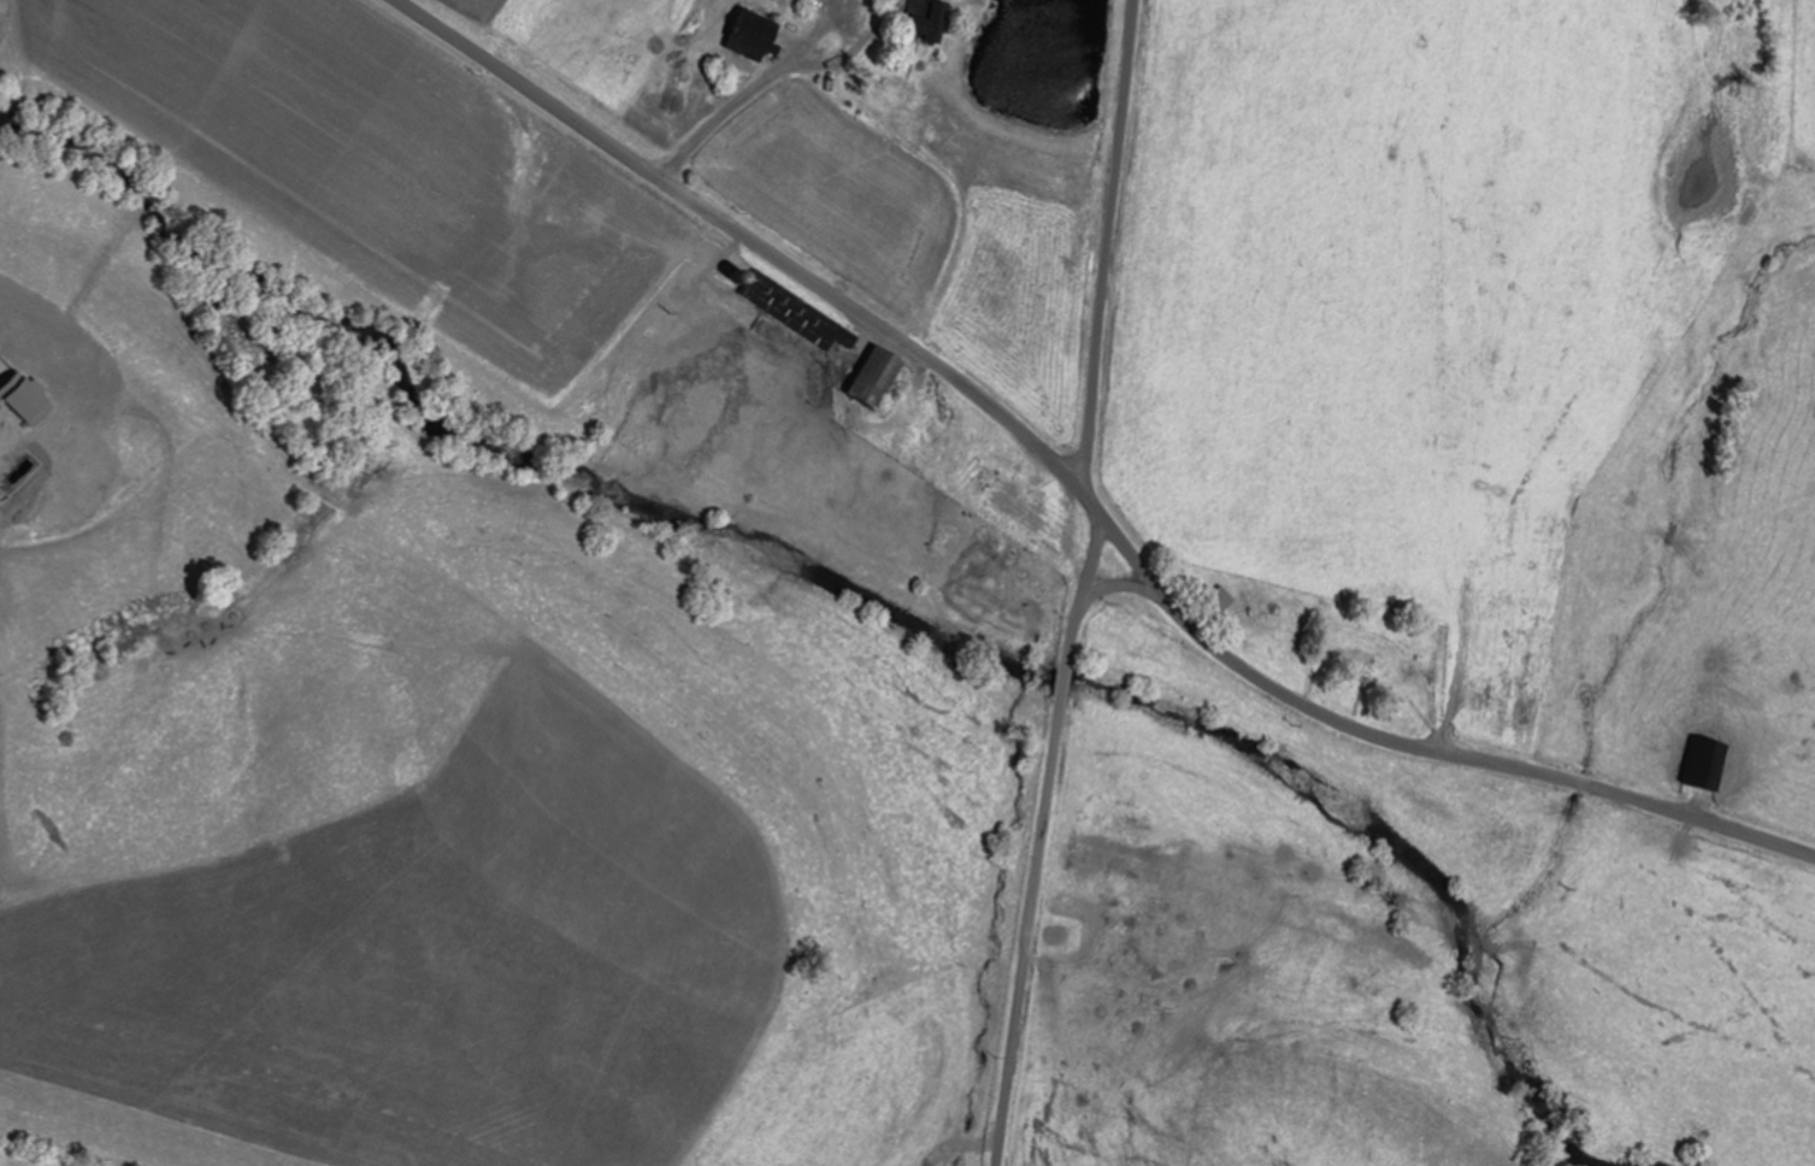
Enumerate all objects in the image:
building: (933, 20)
building: (760, 39)
road: (1108, 247)
building: (797, 313)
building: (883, 377)
road: (1079, 493)
road: (1118, 588)
building: (1226, 600)
building: (1361, 666)
building: (1713, 766)
road: (1041, 841)

